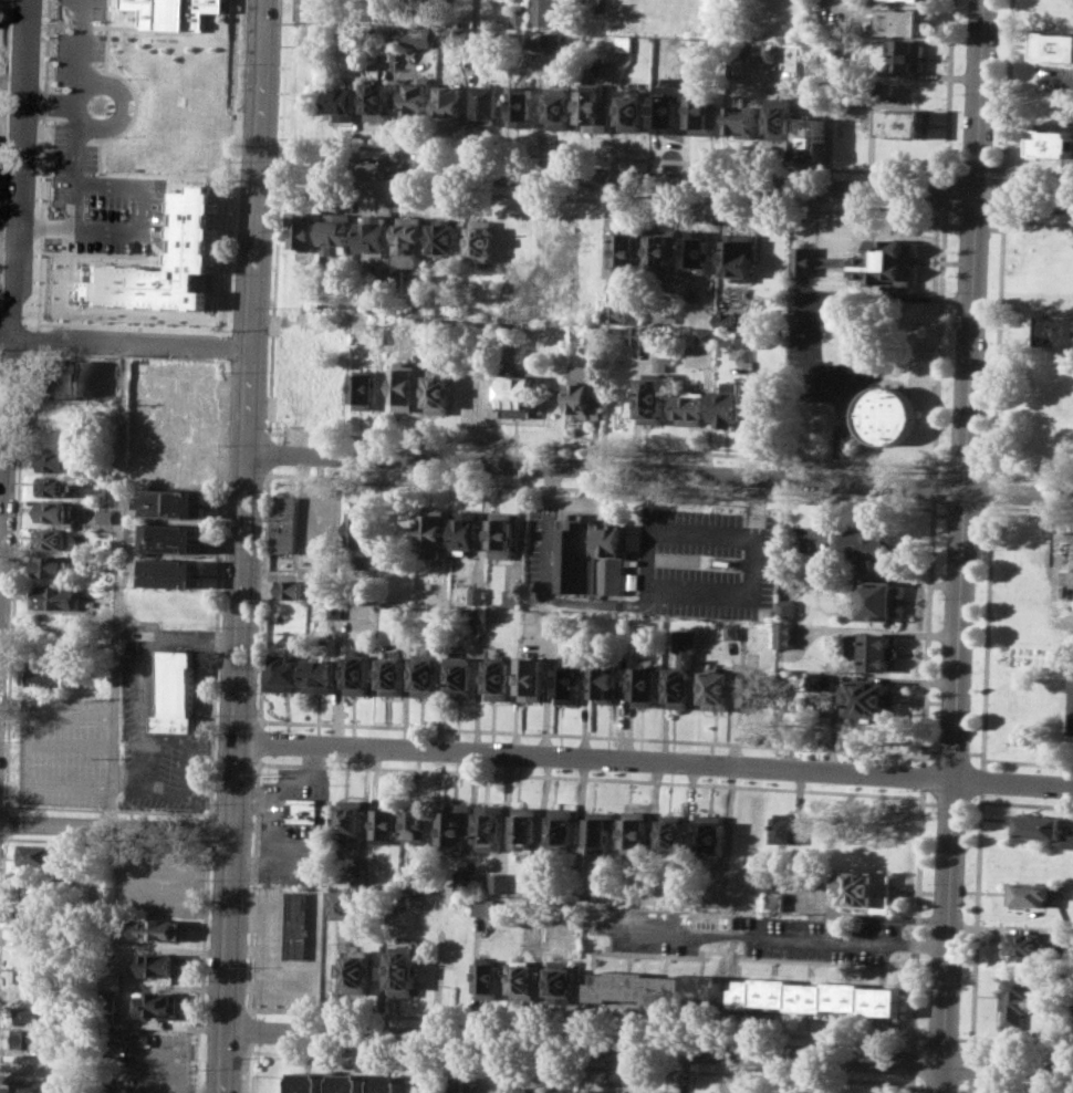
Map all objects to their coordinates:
building: (926, 0)
street lamp: (43, 8)
building: (544, 12)
building: (171, 13)
building: (1055, 13)
building: (520, 17)
building: (904, 22)
road: (59, 23)
road: (80, 24)
road: (97, 25)
street lamp: (55, 31)
building: (457, 34)
building: (392, 35)
building: (417, 35)
building: (555, 41)
building: (624, 42)
building: (683, 45)
building: (1054, 46)
road: (82, 49)
building: (748, 51)
building: (770, 51)
building: (905, 55)
street lamp: (239, 64)
street lamp: (125, 77)
street lamp: (53, 89)
road: (947, 92)
road: (1007, 94)
road: (51, 97)
building: (417, 97)
road: (3, 100)
building: (487, 101)
building: (376, 102)
building: (344, 103)
building: (450, 103)
road: (81, 105)
building: (522, 105)
road: (121, 106)
building: (632, 106)
building: (560, 107)
building: (594, 110)
road: (50, 112)
building: (704, 114)
building: (666, 115)
building: (780, 115)
street lamp: (52, 121)
building: (741, 122)
building: (903, 123)
street lamp: (39, 124)
street lamp: (123, 135)
building: (811, 138)
building: (1052, 142)
building: (847, 143)
road: (280, 145)
road: (541, 154)
road: (279, 164)
street lamp: (235, 165)
street lamp: (50, 168)
street lamp: (104, 169)
street lamp: (156, 170)
road: (952, 171)
road: (975, 173)
road: (129, 174)
road: (997, 174)
road: (1039, 179)
road: (666, 180)
road: (944, 195)
road: (608, 199)
road: (1003, 199)
road: (1038, 220)
road: (950, 225)
road: (972, 226)
building: (195, 227)
building: (336, 228)
road: (994, 228)
road: (44, 229)
road: (102, 230)
building: (305, 230)
building: (374, 235)
building: (445, 236)
building: (480, 239)
building: (410, 241)
street lamp: (32, 247)
building: (628, 247)
building: (661, 248)
building: (696, 250)
building: (740, 254)
building: (803, 260)
building: (886, 266)
street lamp: (232, 273)
building: (397, 278)
road: (11, 309)
building: (616, 312)
building: (726, 318)
street lamp: (30, 324)
road: (133, 326)
building: (1056, 331)
road: (223, 333)
building: (642, 334)
building: (595, 335)
building: (706, 336)
building: (751, 340)
road: (938, 341)
road: (125, 343)
road: (997, 344)
road: (223, 346)
street lamp: (92, 353)
road: (24, 354)
parking lot: (819, 358)
street lamp: (209, 361)
road: (225, 361)
street lamp: (175, 362)
street lamp: (228, 371)
road: (251, 371)
building: (41, 376)
building: (73, 377)
road: (836, 383)
building: (405, 388)
building: (364, 391)
building: (438, 391)
building: (655, 391)
building: (582, 393)
building: (518, 396)
building: (476, 397)
building: (730, 405)
building: (692, 408)
building: (886, 414)
building: (184, 423)
road: (270, 433)
building: (56, 436)
road: (478, 440)
street lamp: (226, 444)
road: (270, 451)
building: (54, 460)
road: (941, 461)
road: (962, 462)
road: (985, 464)
road: (1032, 472)
road: (241, 473)
road: (660, 473)
building: (134, 477)
building: (53, 486)
road: (933, 487)
road: (597, 488)
road: (991, 491)
road: (584, 501)
building: (174, 502)
street lamp: (13, 511)
building: (54, 511)
road: (939, 513)
road: (962, 514)
road: (1032, 514)
building: (105, 516)
road: (985, 517)
building: (285, 524)
road: (963, 531)
building: (436, 532)
building: (466, 532)
building: (364, 533)
building: (503, 534)
building: (175, 538)
building: (53, 539)
building: (864, 545)
street lamp: (222, 546)
building: (1067, 550)
parking lot: (542, 553)
building: (593, 558)
parking lot: (757, 561)
building: (52, 565)
building: (173, 573)
road: (678, 583)
road: (116, 584)
building: (291, 589)
road: (546, 593)
building: (479, 595)
building: (105, 596)
road: (263, 596)
building: (513, 596)
building: (54, 597)
building: (879, 602)
building: (786, 607)
building: (475, 614)
building: (531, 616)
street lamp: (9, 625)
building: (733, 629)
road: (927, 631)
building: (785, 634)
road: (986, 635)
building: (874, 649)
building: (684, 668)
building: (357, 670)
building: (50, 673)
building: (283, 673)
building: (427, 674)
building: (319, 675)
building: (394, 675)
building: (461, 676)
road: (144, 677)
building: (501, 678)
building: (533, 678)
building: (817, 678)
building: (570, 681)
building: (605, 681)
building: (646, 686)
building: (718, 689)
building: (756, 690)
building: (178, 691)
building: (869, 698)
street lamp: (217, 714)
building: (1072, 720)
parking lot: (155, 732)
road: (590, 737)
road: (258, 740)
parking lot: (63, 750)
road: (929, 750)
road: (951, 750)
road: (975, 751)
road: (594, 760)
road: (1028, 762)
road: (923, 775)
road: (588, 780)
road: (981, 780)
road: (1012, 782)
road: (236, 784)
road: (928, 802)
road: (1, 803)
road: (3, 803)
road: (950, 803)
street lamp: (212, 804)
road: (1027, 804)
road: (972, 805)
road: (9, 806)
building: (301, 808)
road: (208, 814)
road: (6, 823)
building: (351, 823)
building: (387, 823)
building: (420, 825)
building: (457, 825)
building: (563, 825)
road: (116, 826)
building: (491, 826)
building: (527, 826)
building: (1035, 826)
building: (602, 829)
road: (207, 830)
building: (788, 830)
building: (635, 831)
building: (671, 832)
street lamp: (20, 833)
road: (2, 836)
building: (709, 836)
building: (1067, 840)
road: (105, 841)
building: (37, 853)
street lamp: (210, 879)
building: (362, 881)
building: (465, 881)
road: (252, 882)
building: (500, 882)
building: (416, 883)
building: (540, 886)
building: (34, 888)
building: (864, 888)
building: (1029, 893)
road: (2, 899)
building: (777, 901)
building: (342, 905)
building: (487, 906)
building: (34, 909)
road: (916, 918)
road: (976, 922)
building: (296, 925)
building: (162, 929)
building: (33, 930)
parking lot: (649, 930)
road: (772, 937)
parking lot: (825, 940)
building: (1027, 946)
road: (228, 960)
building: (158, 964)
road: (201, 968)
building: (403, 970)
building: (355, 972)
building: (33, 974)
building: (490, 979)
building: (525, 979)
building: (562, 981)
building: (656, 988)
building: (817, 996)
building: (1014, 1000)
building: (108, 1001)
building: (157, 1003)
building: (33, 1014)
road: (576, 1023)
road: (246, 1030)
road: (919, 1035)
building: (29, 1038)
road: (941, 1038)
road: (965, 1038)
road: (583, 1044)
road: (1022, 1045)
road: (246, 1048)
road: (911, 1061)
parking lot: (148, 1063)
road: (424, 1064)
road: (556, 1064)
road: (971, 1064)
road: (1006, 1066)
street lamp: (202, 1068)
road: (939, 1078)
building: (308, 1082)
building: (390, 1082)
building: (348, 1083)
road: (911, 1083)
road: (970, 1084)
building: (33, 1086)
building: (457, 1086)
building: (518, 1089)
road: (918, 1089)
road: (1021, 1089)
building: (555, 1090)
road: (940, 1090)
building: (593, 1091)
road: (962, 1091)
building: (626, 1092)
building: (666, 1092)

